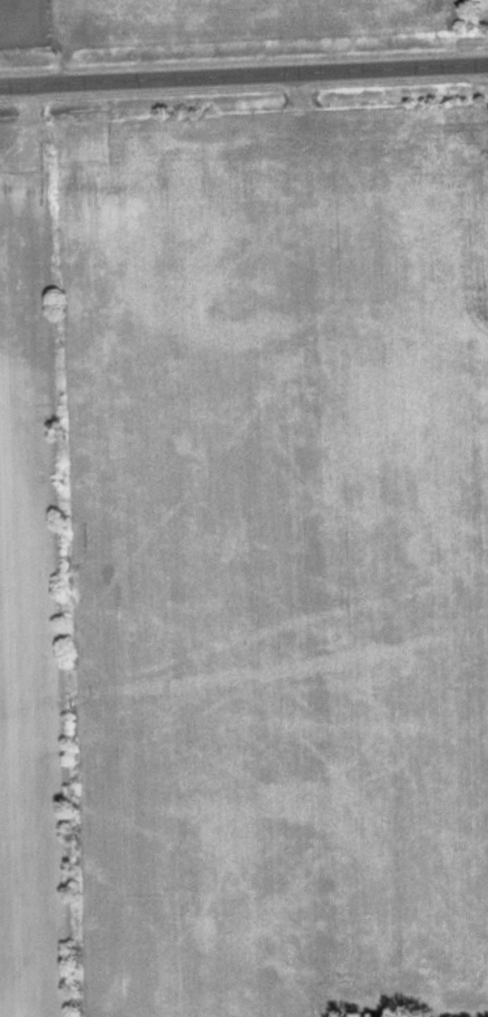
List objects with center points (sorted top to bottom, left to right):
road: (244, 69)

